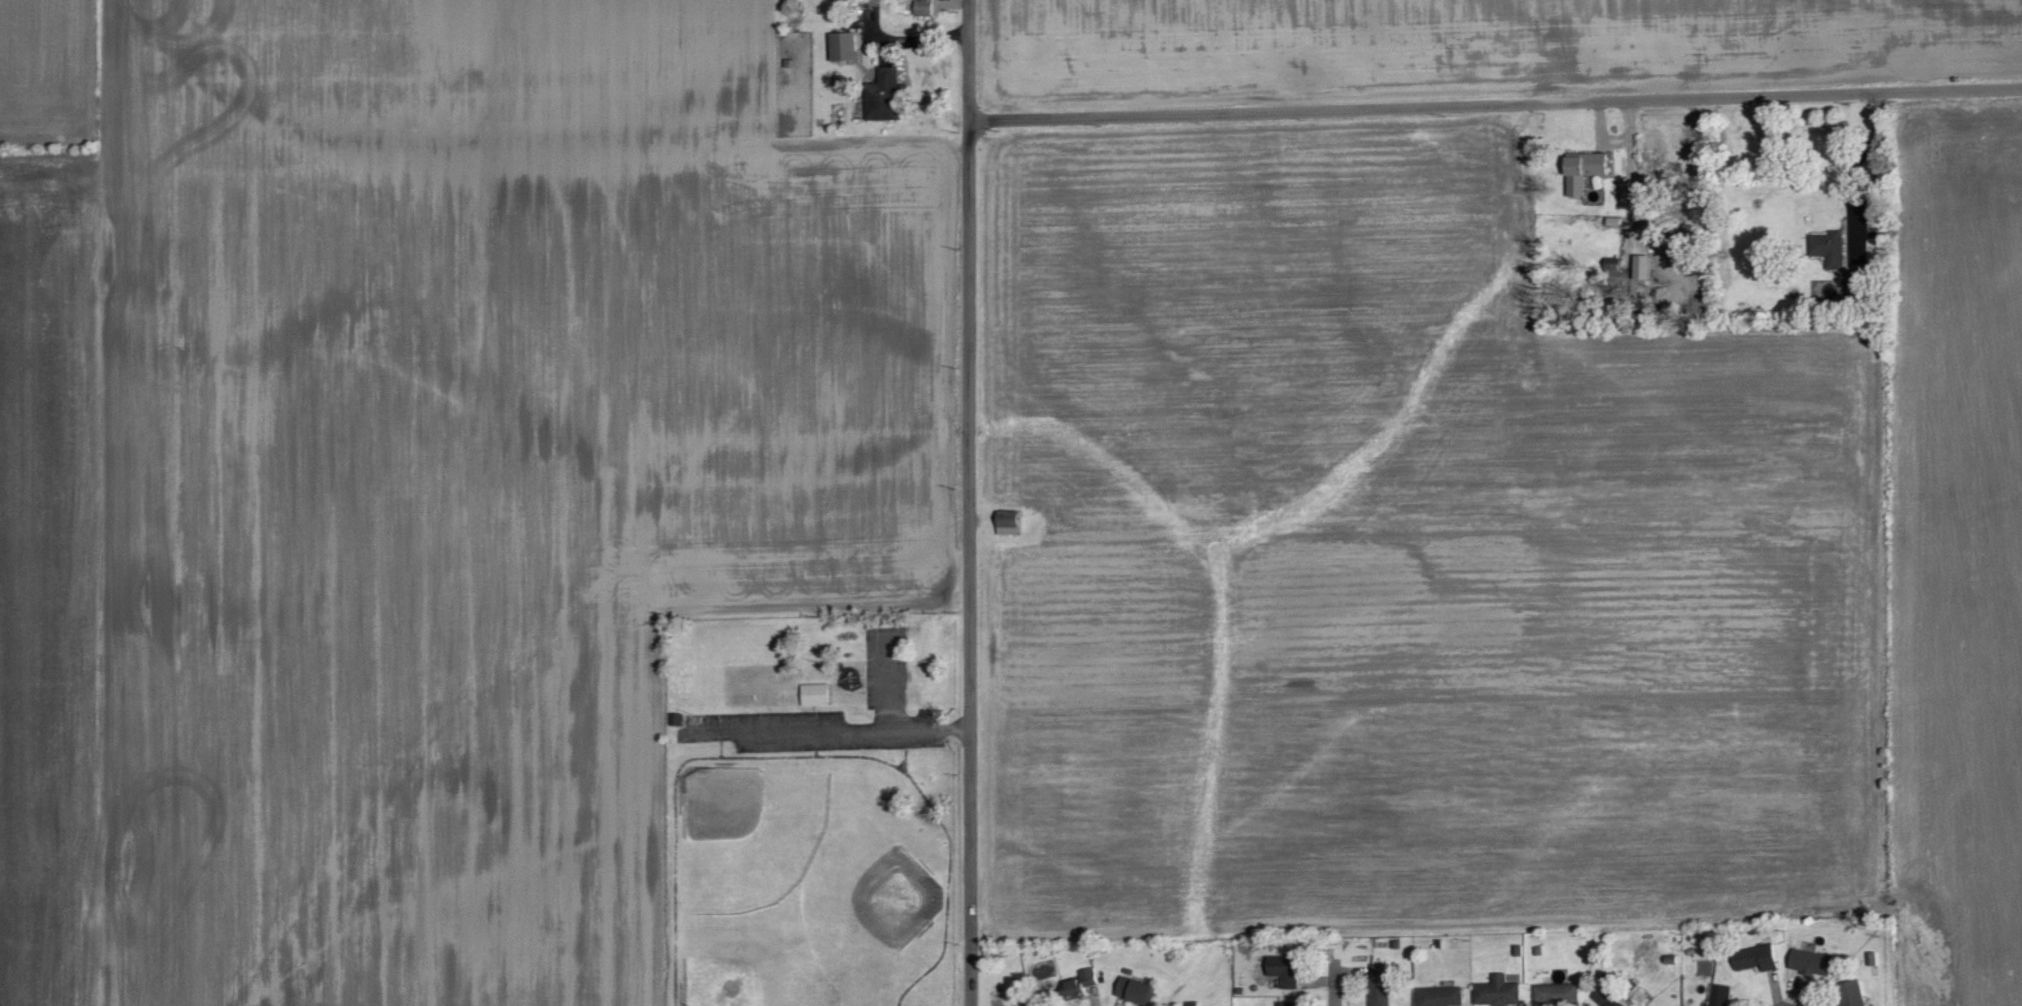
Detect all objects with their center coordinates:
building: (924, 7)
building: (844, 45)
road: (969, 58)
building: (884, 95)
road: (1496, 101)
road: (1856, 159)
building: (1585, 170)
building: (1830, 248)
building: (1643, 266)
building: (1009, 522)
road: (972, 561)
building: (816, 694)
road: (868, 727)
park: (811, 804)
building: (1757, 958)
building: (1813, 963)
building: (1285, 970)
road: (1337, 982)
building: (1080, 984)
building: (1380, 985)
building: (1135, 990)
building: (1498, 992)
building: (1557, 993)
building: (1850, 994)
building: (1720, 995)
building: (1441, 996)
building: (1609, 997)
building: (1288, 1003)

